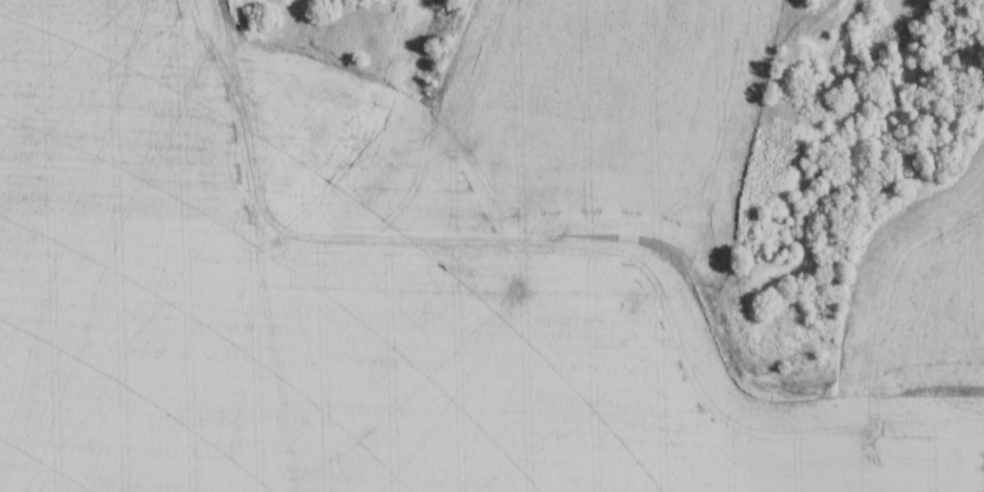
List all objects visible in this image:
crop: (341, 302)

